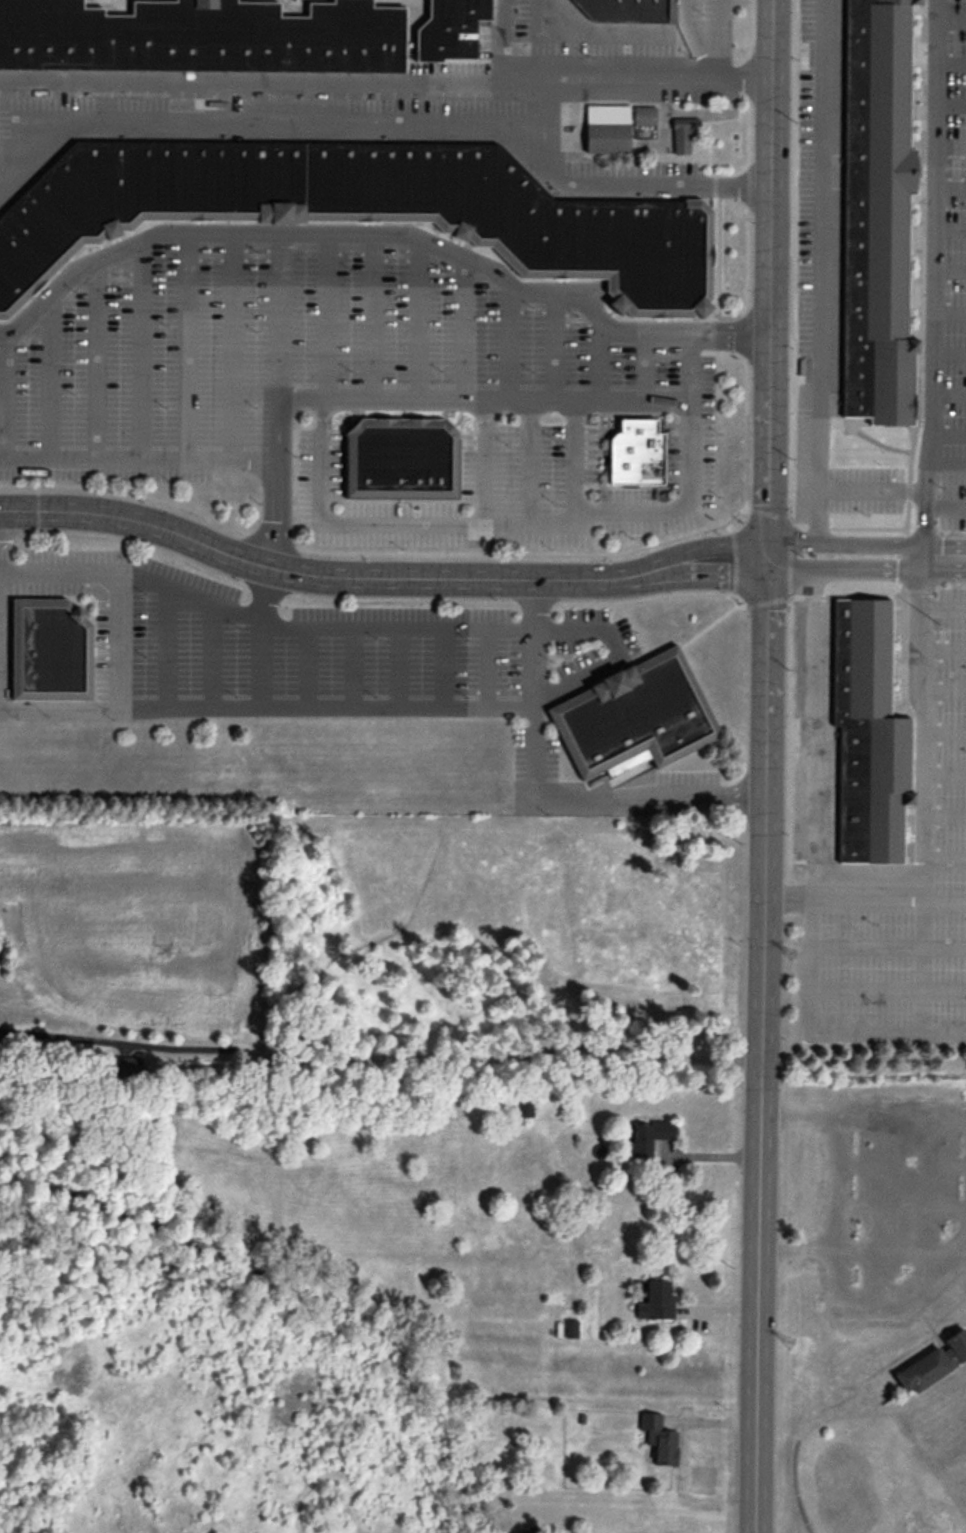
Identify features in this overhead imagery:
building: (625, 11)
road: (683, 16)
road: (948, 18)
building: (449, 30)
road: (629, 32)
building: (200, 37)
road: (502, 42)
road: (537, 42)
road: (721, 42)
road: (948, 63)
road: (384, 84)
parking lot: (413, 97)
road: (948, 105)
building: (643, 117)
road: (382, 130)
building: (606, 130)
building: (682, 138)
road: (948, 148)
road: (6, 180)
road: (948, 192)
building: (360, 212)
building: (875, 212)
road: (948, 229)
road: (381, 233)
road: (789, 260)
road: (819, 272)
road: (948, 272)
parking lot: (952, 275)
parking lot: (825, 284)
road: (948, 314)
road: (326, 316)
road: (370, 316)
road: (417, 318)
road: (463, 329)
road: (508, 340)
road: (554, 345)
road: (187, 346)
road: (232, 346)
road: (140, 350)
road: (948, 355)
road: (600, 357)
parking lot: (304, 358)
road: (96, 359)
road: (644, 366)
road: (49, 377)
road: (4, 396)
road: (483, 400)
road: (948, 401)
road: (947, 436)
road: (877, 443)
road: (766, 449)
building: (633, 455)
road: (138, 459)
building: (398, 460)
road: (484, 461)
road: (528, 461)
road: (573, 461)
road: (946, 465)
road: (276, 471)
road: (870, 490)
parking lot: (511, 492)
road: (945, 508)
road: (906, 510)
road: (924, 517)
road: (531, 523)
road: (847, 528)
traffic signals: (766, 539)
road: (865, 544)
road: (696, 549)
road: (626, 554)
road: (734, 559)
road: (790, 566)
road: (865, 570)
road: (698, 573)
traffic signals: (766, 574)
road: (311, 576)
road: (356, 602)
road: (944, 609)
road: (363, 629)
road: (706, 629)
road: (118, 644)
road: (167, 647)
parking lot: (295, 650)
road: (944, 651)
building: (47, 652)
road: (212, 655)
road: (312, 668)
road: (355, 668)
road: (396, 668)
road: (443, 668)
road: (489, 668)
road: (790, 682)
road: (944, 691)
road: (266, 707)
building: (633, 719)
road: (944, 733)
road: (813, 734)
parking lot: (813, 735)
building: (866, 736)
road: (944, 775)
parking lot: (602, 786)
road: (541, 795)
road: (944, 818)
road: (944, 861)
road: (864, 899)
parking lot: (900, 901)
road: (888, 948)
power tower: (789, 954)
road: (887, 991)
building: (295, 1022)
road: (820, 1034)
road: (380, 1058)
building: (267, 1076)
building: (525, 1108)
building: (649, 1137)
road: (759, 1215)
building: (655, 1301)
building: (570, 1328)
power tower: (786, 1342)
building: (930, 1363)
building: (658, 1439)

